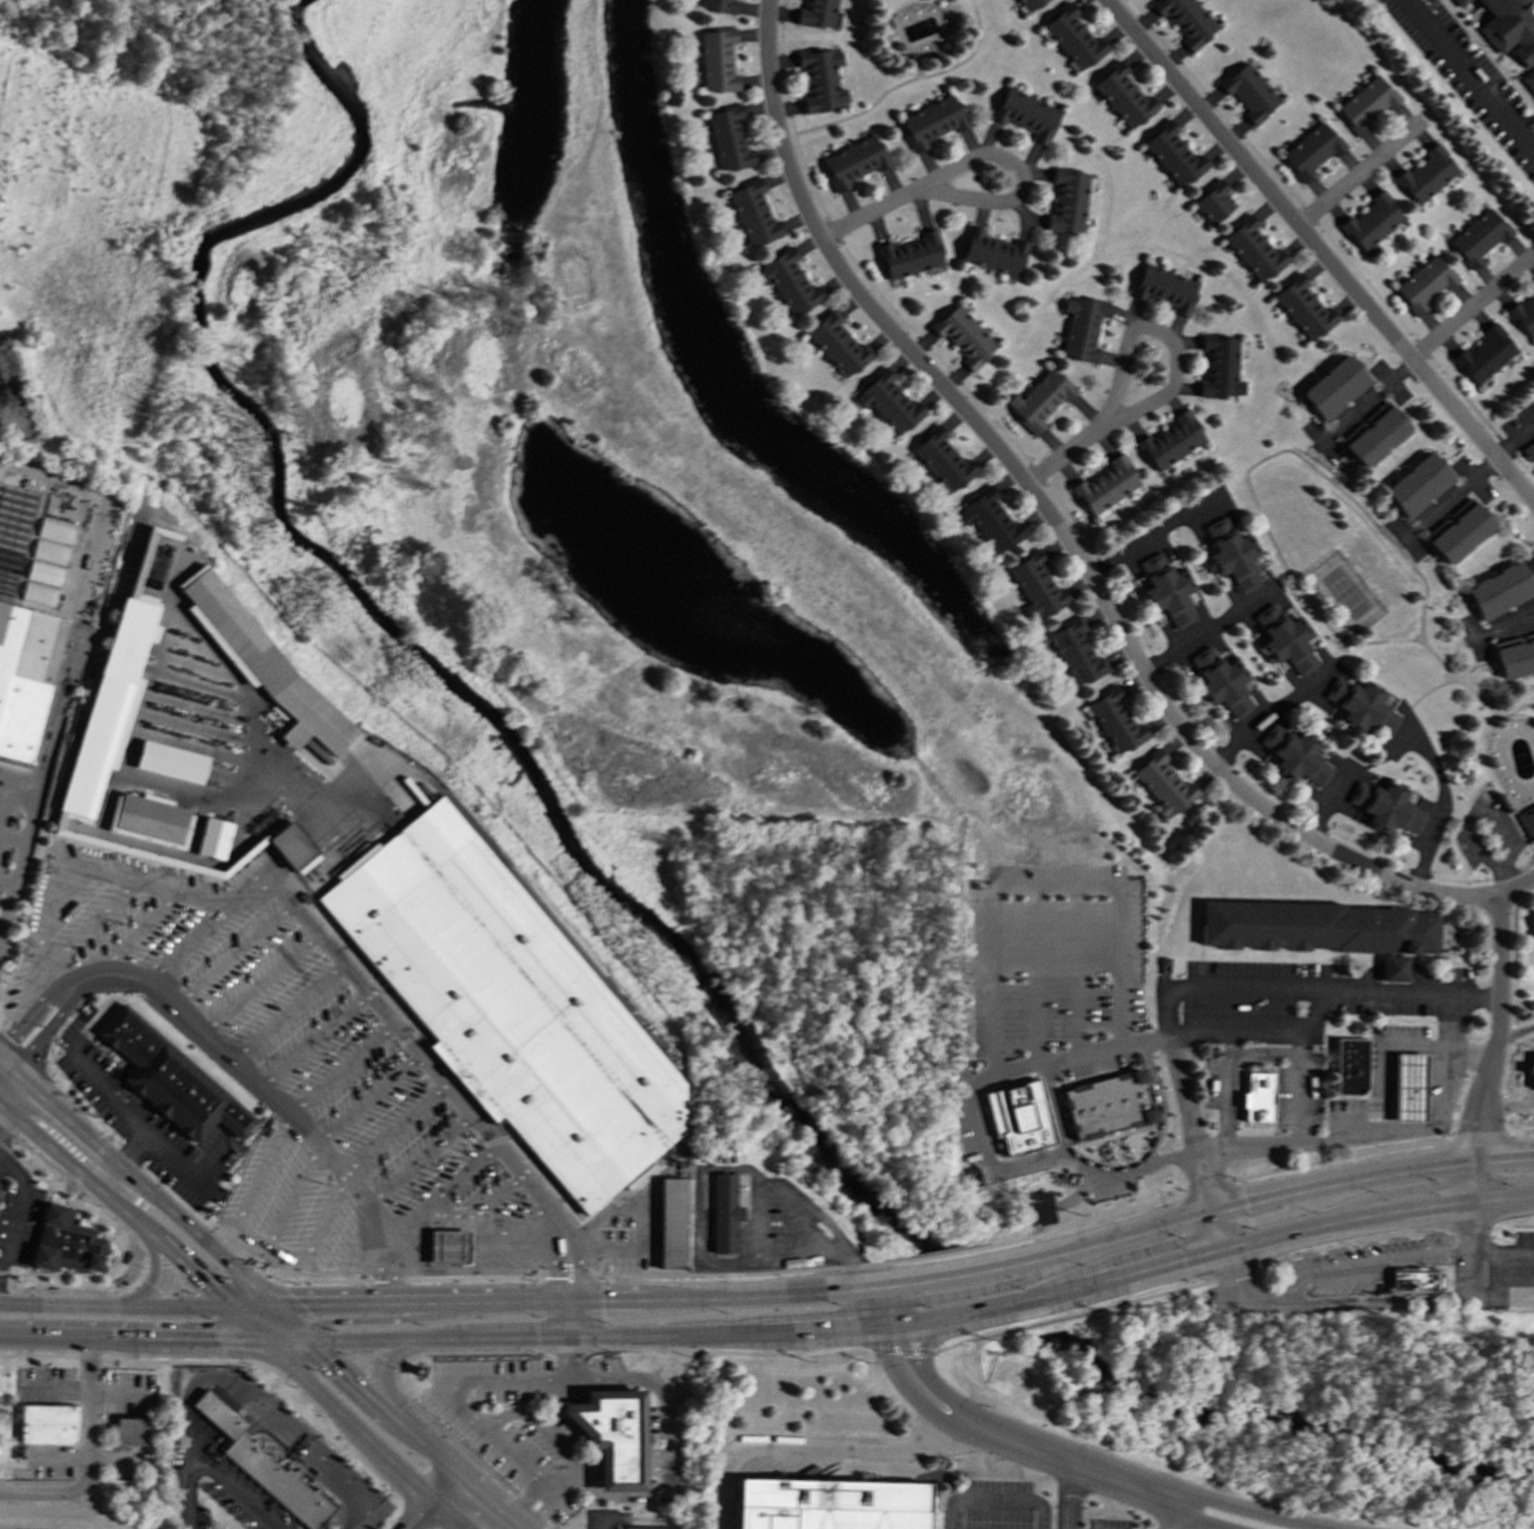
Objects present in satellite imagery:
building: (1458, 2)
building: (1030, 4)
building: (719, 5)
building: (817, 13)
building: (1186, 20)
building: (1507, 32)
building: (1074, 38)
building: (717, 60)
road: (1471, 73)
building: (821, 79)
road: (906, 81)
building: (1249, 92)
building: (1123, 96)
building: (1366, 104)
building: (1026, 114)
building: (932, 122)
building: (729, 139)
building: (1311, 151)
building: (1173, 154)
building: (854, 162)
road: (1357, 175)
building: (1427, 175)
road: (1019, 178)
building: (1068, 200)
building: (1214, 202)
road: (872, 211)
building: (753, 214)
building: (1373, 224)
road: (1331, 237)
building: (1480, 237)
building: (1254, 249)
road: (1318, 250)
building: (512, 251)
building: (992, 252)
building: (910, 255)
building: (788, 282)
building: (1425, 284)
building: (1165, 289)
road: (1474, 307)
building: (1304, 308)
building: (1524, 316)
building: (1081, 327)
road: (1165, 334)
building: (964, 336)
building: (838, 344)
building: (1487, 355)
building: (1221, 367)
building: (1336, 387)
building: (1040, 399)
road: (1369, 399)
building: (889, 402)
building: (1376, 434)
road: (1517, 440)
building: (1172, 441)
building: (1530, 451)
road: (1069, 456)
road: (1302, 458)
building: (943, 460)
building: (1419, 485)
building: (1106, 486)
road: (1452, 493)
building: (990, 521)
road: (1075, 527)
building: (1459, 531)
road: (1149, 534)
road: (1065, 537)
building: (143, 553)
building: (1232, 555)
park: (682, 566)
building: (1037, 587)
building: (1167, 590)
building: (1501, 590)
road: (1513, 622)
river: (393, 627)
road: (1205, 630)
building: (1286, 639)
building: (1077, 652)
building: (1515, 655)
building: (256, 659)
building: (27, 678)
building: (1222, 682)
building: (111, 700)
building: (1362, 706)
road: (1274, 713)
building: (1116, 721)
building: (1296, 755)
building: (171, 762)
road: (1489, 767)
building: (1163, 784)
road: (36, 795)
road: (1331, 801)
road: (1442, 805)
building: (1387, 807)
building: (150, 819)
building: (1527, 821)
road: (14, 831)
building: (213, 838)
building: (292, 846)
road: (1040, 884)
building: (1531, 921)
building: (1321, 929)
parking lot: (1067, 973)
road: (364, 986)
road: (1224, 987)
building: (512, 1008)
road: (1313, 1013)
road: (1449, 1025)
road: (1511, 1026)
road: (1499, 1031)
road: (1516, 1032)
road: (1291, 1033)
road: (1261, 1050)
road: (230, 1058)
road: (1384, 1059)
building: (1349, 1067)
road: (2, 1069)
building: (1531, 1072)
building: (169, 1078)
building: (1407, 1088)
road: (104, 1090)
road: (1223, 1093)
building: (1256, 1097)
building: (1107, 1104)
road: (1507, 1104)
road: (1058, 1111)
building: (1018, 1117)
road: (3, 1123)
road: (977, 1131)
road: (1374, 1135)
road: (1478, 1136)
road: (169, 1154)
road: (102, 1179)
road: (1500, 1179)
road: (1472, 1180)
road: (753, 1181)
road: (136, 1187)
road: (1385, 1194)
road: (18, 1205)
road: (114, 1209)
road: (1288, 1210)
building: (723, 1212)
road: (1198, 1216)
building: (670, 1223)
road: (797, 1225)
road: (37, 1229)
road: (1217, 1230)
road: (110, 1240)
building: (66, 1243)
building: (446, 1246)
road: (1478, 1252)
road: (1201, 1253)
road: (1124, 1257)
road: (575, 1258)
road: (555, 1261)
road: (869, 1264)
road: (470, 1266)
road: (150, 1278)
building: (1413, 1282)
road: (999, 1284)
traffic signals: (206, 1289)
road: (1239, 1289)
road: (1281, 1293)
road: (568, 1294)
river: (984, 1295)
road: (892, 1298)
road: (1481, 1299)
road: (570, 1300)
traffic signals: (568, 1301)
traffic signals: (302, 1305)
road: (252, 1307)
road: (114, 1308)
road: (868, 1308)
road: (1080, 1312)
road: (882, 1316)
road: (415, 1317)
road: (287, 1318)
road: (568, 1320)
traffic signals: (330, 1321)
road: (295, 1336)
road: (306, 1336)
road: (592, 1339)
road: (145, 1340)
traffic signals: (568, 1340)
traffic signals: (228, 1341)
road: (301, 1342)
road: (923, 1343)
road: (625, 1348)
road: (898, 1350)
road: (288, 1353)
traffic signals: (330, 1359)
road: (151, 1361)
road: (386, 1371)
road: (644, 1383)
road: (229, 1397)
road: (450, 1398)
river: (1298, 1399)
road: (534, 1418)
road: (347, 1420)
building: (48, 1423)
building: (135, 1431)
road: (415, 1435)
building: (611, 1436)
road: (814, 1447)
road: (465, 1450)
road: (85, 1456)
road: (1082, 1456)
road: (189, 1457)
road: (1020, 1457)
road: (323, 1462)
building: (264, 1466)
road: (260, 1467)
road: (225, 1482)
road: (1067, 1491)
road: (633, 1494)
road: (434, 1501)
road: (1005, 1501)
building: (829, 1504)
road: (533, 1508)
parking lot: (1014, 1508)
road: (1170, 1509)
road: (188, 1513)
road: (948, 1514)
road: (361, 1516)
road: (514, 1527)
building: (640, 1527)

